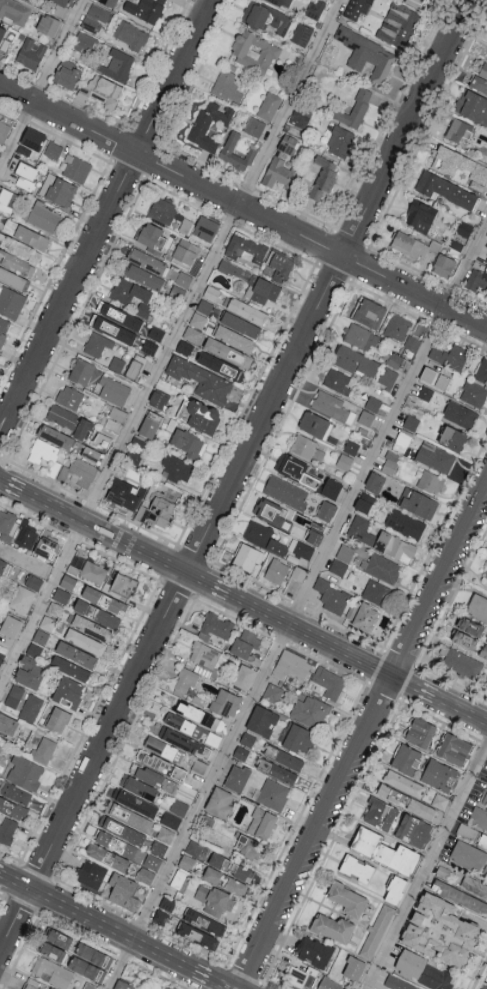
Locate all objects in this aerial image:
building: (61, 1)
building: (109, 2)
building: (282, 2)
building: (416, 3)
building: (315, 8)
building: (355, 8)
building: (59, 9)
building: (145, 9)
building: (14, 11)
building: (94, 17)
building: (266, 17)
building: (47, 24)
building: (398, 24)
building: (2, 31)
building: (302, 33)
building: (130, 34)
building: (83, 41)
building: (254, 50)
building: (30, 52)
building: (367, 53)
building: (117, 64)
building: (484, 70)
building: (66, 74)
road: (41, 83)
building: (479, 83)
building: (227, 85)
building: (101, 90)
road: (288, 101)
building: (269, 105)
building: (472, 106)
building: (353, 109)
building: (300, 116)
building: (209, 124)
building: (254, 126)
building: (459, 129)
building: (4, 130)
building: (33, 138)
building: (340, 140)
building: (53, 149)
building: (236, 153)
building: (281, 162)
building: (460, 166)
building: (75, 167)
building: (26, 174)
building: (322, 177)
building: (57, 189)
building: (446, 189)
building: (8, 200)
road: (243, 206)
building: (162, 210)
road: (106, 215)
building: (420, 215)
building: (44, 217)
building: (3, 221)
building: (185, 225)
building: (205, 227)
building: (464, 228)
building: (151, 235)
building: (31, 236)
building: (413, 245)
building: (20, 246)
building: (245, 247)
building: (185, 251)
building: (146, 260)
building: (486, 263)
building: (20, 264)
building: (443, 264)
building: (279, 265)
building: (230, 268)
building: (144, 276)
building: (12, 277)
building: (180, 277)
building: (477, 280)
building: (120, 288)
building: (264, 290)
building: (211, 292)
building: (141, 299)
building: (10, 302)
building: (204, 306)
building: (247, 310)
building: (369, 312)
building: (120, 316)
building: (198, 320)
building: (3, 324)
building: (240, 324)
building: (397, 326)
building: (114, 328)
building: (156, 332)
building: (192, 333)
building: (360, 336)
building: (2, 338)
building: (234, 338)
building: (412, 342)
building: (97, 343)
building: (149, 346)
building: (184, 347)
building: (223, 350)
building: (450, 356)
building: (354, 360)
building: (394, 360)
road: (160, 362)
building: (117, 363)
building: (219, 365)
building: (133, 368)
building: (482, 370)
building: (81, 371)
building: (387, 377)
building: (434, 377)
building: (202, 380)
building: (337, 380)
building: (113, 390)
building: (425, 392)
building: (473, 393)
building: (69, 396)
building: (158, 399)
building: (372, 403)
building: (332, 406)
building: (118, 414)
building: (459, 414)
building: (202, 416)
building: (365, 417)
building: (69, 420)
road: (387, 421)
building: (410, 422)
building: (150, 424)
building: (315, 424)
building: (55, 436)
building: (452, 437)
building: (102, 439)
building: (402, 440)
building: (188, 443)
building: (303, 446)
building: (351, 447)
building: (43, 452)
building: (90, 453)
building: (133, 456)
building: (435, 457)
building: (344, 461)
building: (390, 462)
building: (177, 468)
building: (296, 470)
building: (79, 472)
road: (233, 474)
building: (430, 481)
building: (374, 482)
road: (12, 485)
building: (331, 488)
building: (285, 492)
building: (116, 495)
building: (364, 502)
building: (418, 503)
building: (326, 510)
building: (157, 512)
building: (270, 512)
building: (405, 523)
building: (7, 524)
road: (105, 532)
building: (27, 536)
building: (313, 536)
building: (264, 537)
building: (379, 539)
building: (47, 548)
building: (304, 550)
building: (345, 553)
building: (247, 557)
building: (5, 567)
building: (338, 567)
building: (381, 567)
building: (88, 569)
building: (276, 570)
building: (486, 575)
building: (33, 581)
building: (295, 581)
building: (68, 582)
road: (207, 583)
building: (124, 585)
building: (375, 592)
building: (62, 595)
building: (332, 596)
building: (21, 599)
building: (104, 600)
road: (41, 604)
building: (478, 606)
building: (55, 608)
road: (258, 608)
building: (97, 613)
building: (362, 615)
building: (48, 622)
building: (10, 626)
building: (216, 626)
building: (469, 626)
building: (92, 628)
building: (41, 636)
building: (464, 639)
building: (85, 641)
building: (486, 642)
building: (245, 643)
road: (341, 649)
building: (34, 650)
building: (483, 652)
building: (76, 654)
building: (204, 654)
building: (1, 657)
building: (461, 662)
building: (291, 665)
building: (70, 668)
building: (29, 672)
building: (244, 676)
building: (185, 681)
building: (329, 682)
road: (414, 686)
building: (68, 692)
building: (272, 692)
building: (14, 696)
building: (225, 702)
building: (31, 707)
road: (461, 709)
building: (310, 711)
building: (197, 714)
building: (58, 719)
building: (262, 720)
building: (9, 724)
building: (192, 728)
building: (420, 732)
building: (299, 738)
road: (363, 738)
building: (247, 739)
building: (185, 742)
building: (0, 747)
building: (164, 749)
building: (454, 749)
building: (43, 750)
building: (241, 753)
building: (406, 759)
building: (289, 760)
building: (154, 761)
building: (199, 766)
building: (25, 773)
building: (282, 773)
building: (438, 775)
building: (152, 777)
building: (237, 778)
building: (486, 779)
building: (404, 783)
building: (138, 787)
building: (15, 792)
building: (273, 794)
building: (485, 799)
building: (406, 801)
building: (440, 801)
building: (134, 802)
building: (220, 802)
road: (197, 805)
building: (13, 809)
building: (175, 814)
building: (380, 814)
building: (129, 816)
building: (479, 817)
building: (262, 823)
building: (122, 830)
building: (8, 831)
building: (414, 831)
building: (467, 831)
building: (165, 834)
building: (483, 840)
building: (116, 844)
building: (248, 846)
building: (159, 848)
building: (194, 848)
building: (384, 851)
building: (107, 856)
building: (470, 857)
building: (152, 861)
building: (187, 862)
road: (426, 865)
building: (231, 867)
building: (357, 868)
building: (92, 875)
building: (145, 875)
building: (178, 879)
road: (15, 880)
building: (224, 881)
building: (474, 886)
building: (396, 890)
building: (123, 893)
building: (460, 897)
building: (213, 898)
building: (347, 899)
building: (167, 903)
building: (160, 917)
road: (112, 928)
building: (332, 928)
building: (204, 929)
building: (376, 931)
building: (439, 931)
building: (61, 939)
building: (52, 952)
building: (313, 954)
building: (92, 956)
building: (87, 969)
building: (354, 969)
building: (424, 971)
building: (52, 972)
building: (299, 977)
road: (214, 979)
building: (398, 983)
building: (31, 984)
building: (329, 984)
building: (122, 985)
building: (88, 986)
building: (50, 988)
building: (166, 988)

